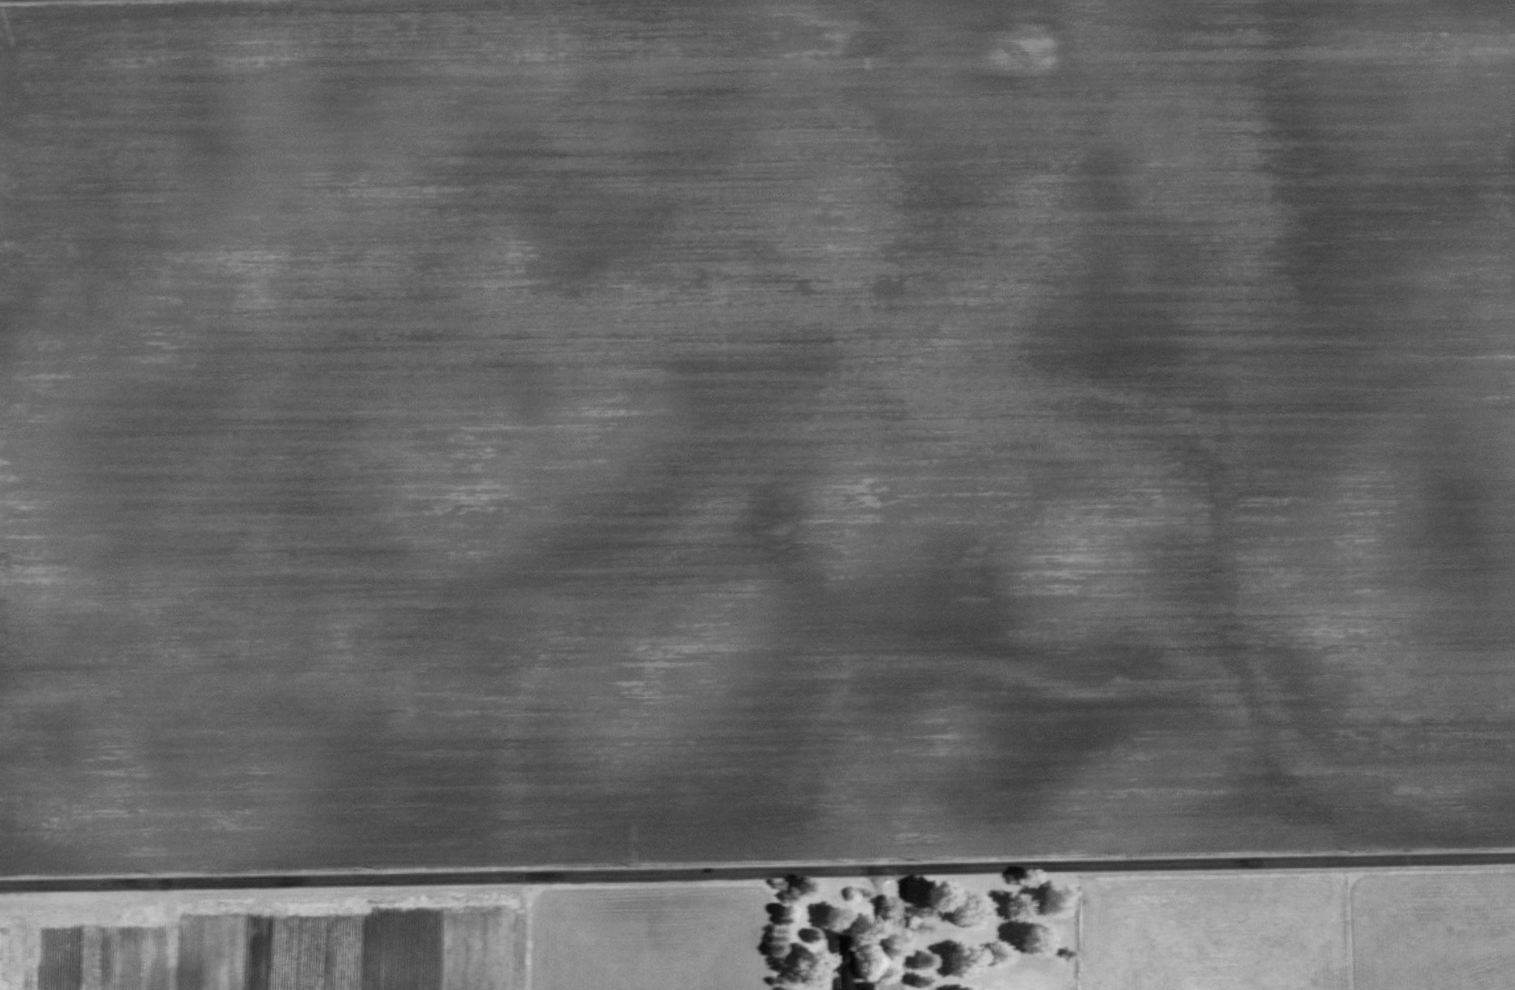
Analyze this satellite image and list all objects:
road: (69, 1)
road: (757, 873)
road: (903, 930)
building: (841, 961)

